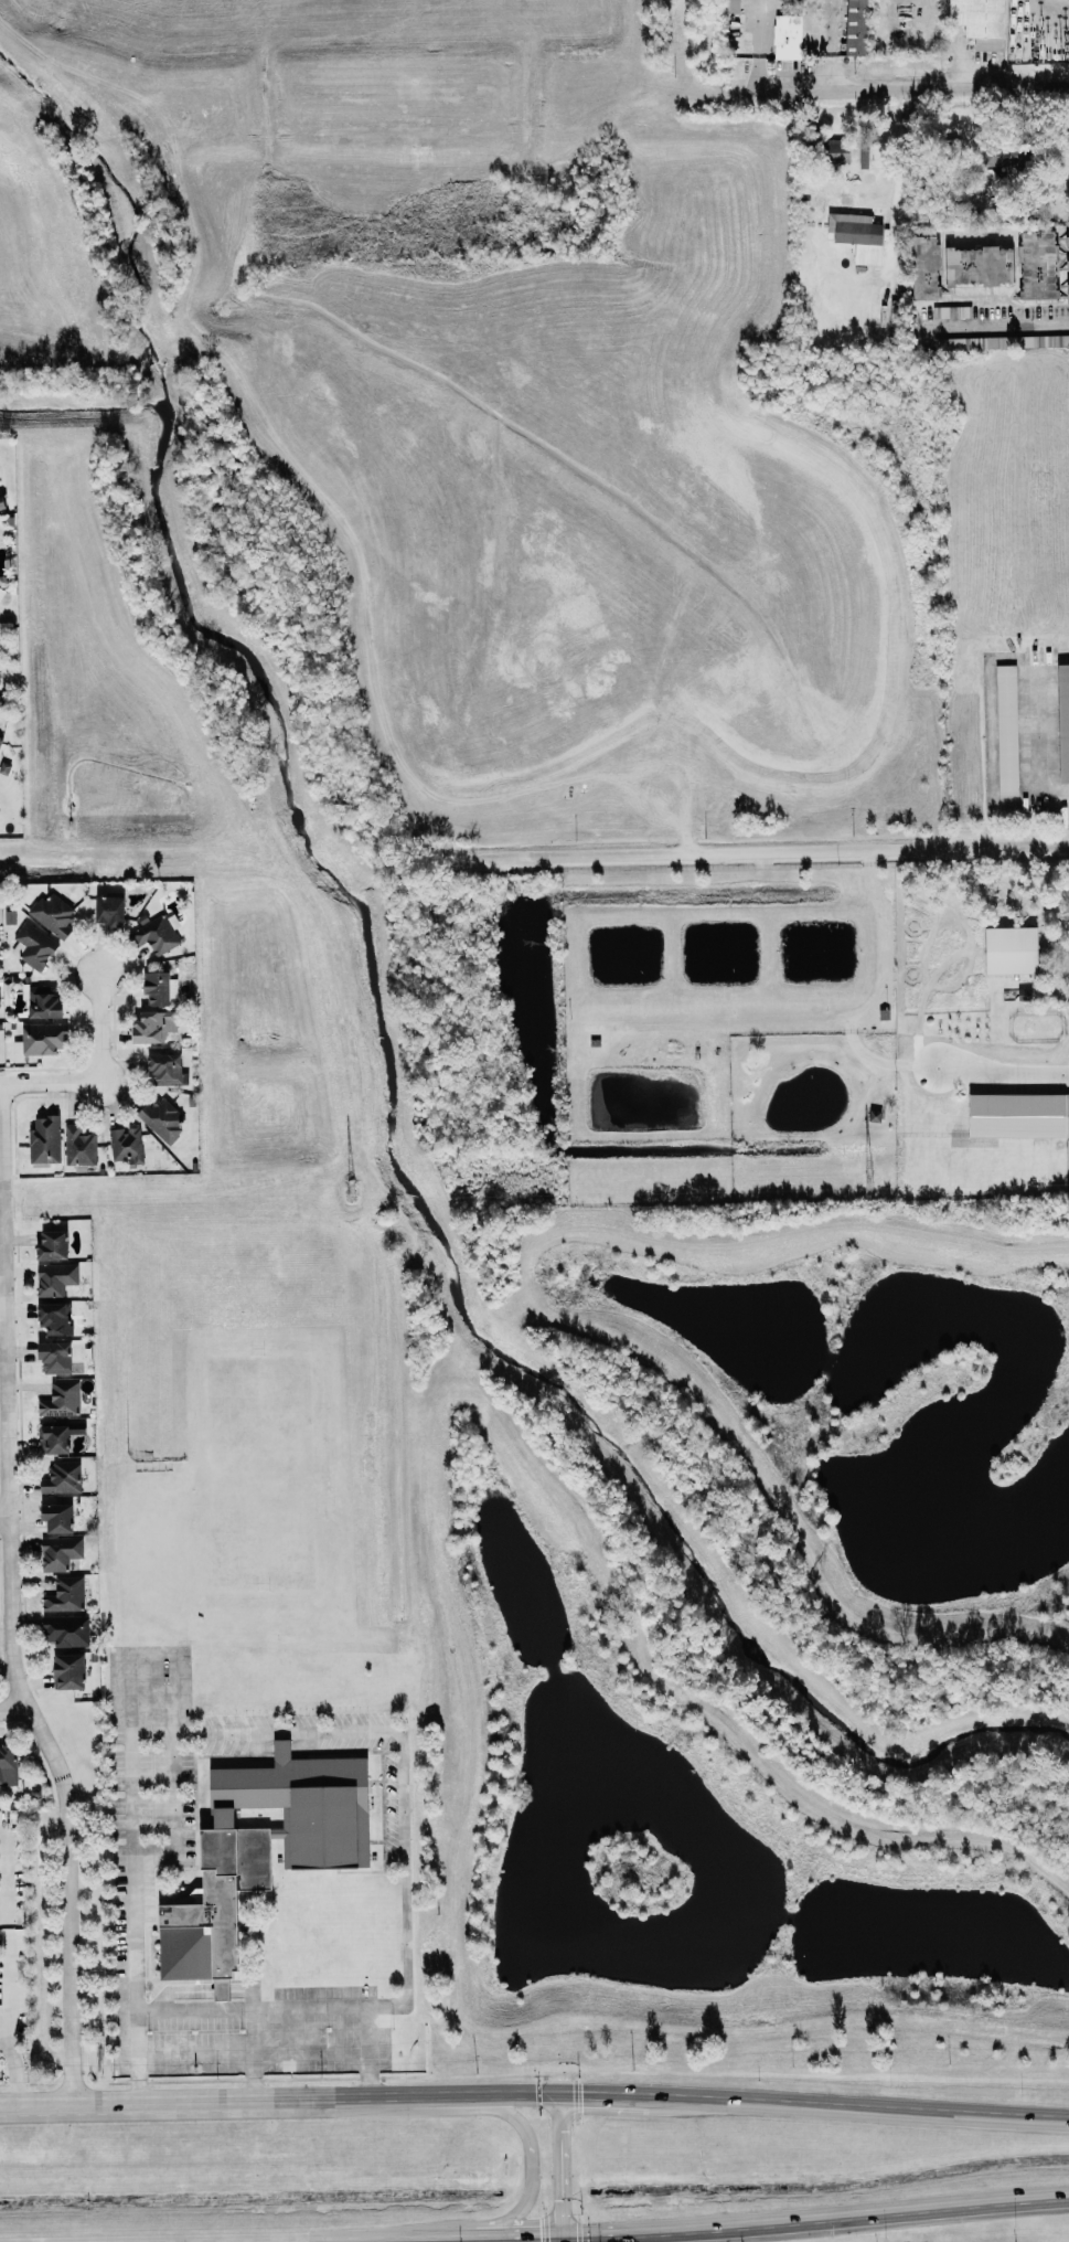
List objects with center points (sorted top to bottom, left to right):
building: (734, 6)
road: (1050, 6)
building: (981, 21)
building: (856, 26)
road: (835, 46)
road: (765, 47)
road: (895, 92)
building: (836, 145)
building: (1006, 151)
road: (898, 174)
building: (858, 235)
building: (1068, 245)
building: (1038, 264)
building: (980, 265)
building: (926, 266)
building: (952, 311)
road: (999, 326)
building: (2, 502)
building: (0, 681)
building: (3, 699)
building: (1063, 720)
building: (1007, 729)
building: (0, 736)
road: (696, 747)
road: (773, 849)
building: (110, 911)
building: (53, 913)
building: (159, 933)
building: (34, 946)
building: (1012, 949)
building: (173, 987)
building: (157, 988)
building: (0, 999)
building: (44, 1001)
road: (100, 1026)
building: (154, 1026)
river: (387, 1030)
building: (44, 1038)
building: (167, 1069)
road: (51, 1082)
building: (1067, 1115)
building: (162, 1119)
building: (45, 1140)
building: (127, 1144)
building: (79, 1146)
power tower: (869, 1179)
power tower: (353, 1189)
building: (53, 1245)
building: (56, 1278)
building: (55, 1317)
road: (1, 1321)
building: (55, 1357)
building: (62, 1399)
building: (55, 1438)
building: (63, 1477)
road: (2, 1515)
building: (58, 1517)
building: (61, 1552)
building: (66, 1594)
road: (8, 1629)
building: (66, 1630)
road: (136, 1666)
building: (70, 1670)
road: (12, 1708)
building: (8, 1764)
road: (405, 1772)
building: (307, 1805)
building: (210, 1903)
parking lot: (13, 1928)
road: (10, 1965)
road: (143, 1984)
road: (302, 2007)
parking lot: (253, 2031)
road: (254, 2054)
road: (258, 2058)
road: (534, 2093)
traffic signals: (559, 2093)
road: (560, 2167)
road: (531, 2171)
road: (815, 2218)
traffic signals: (563, 2241)

